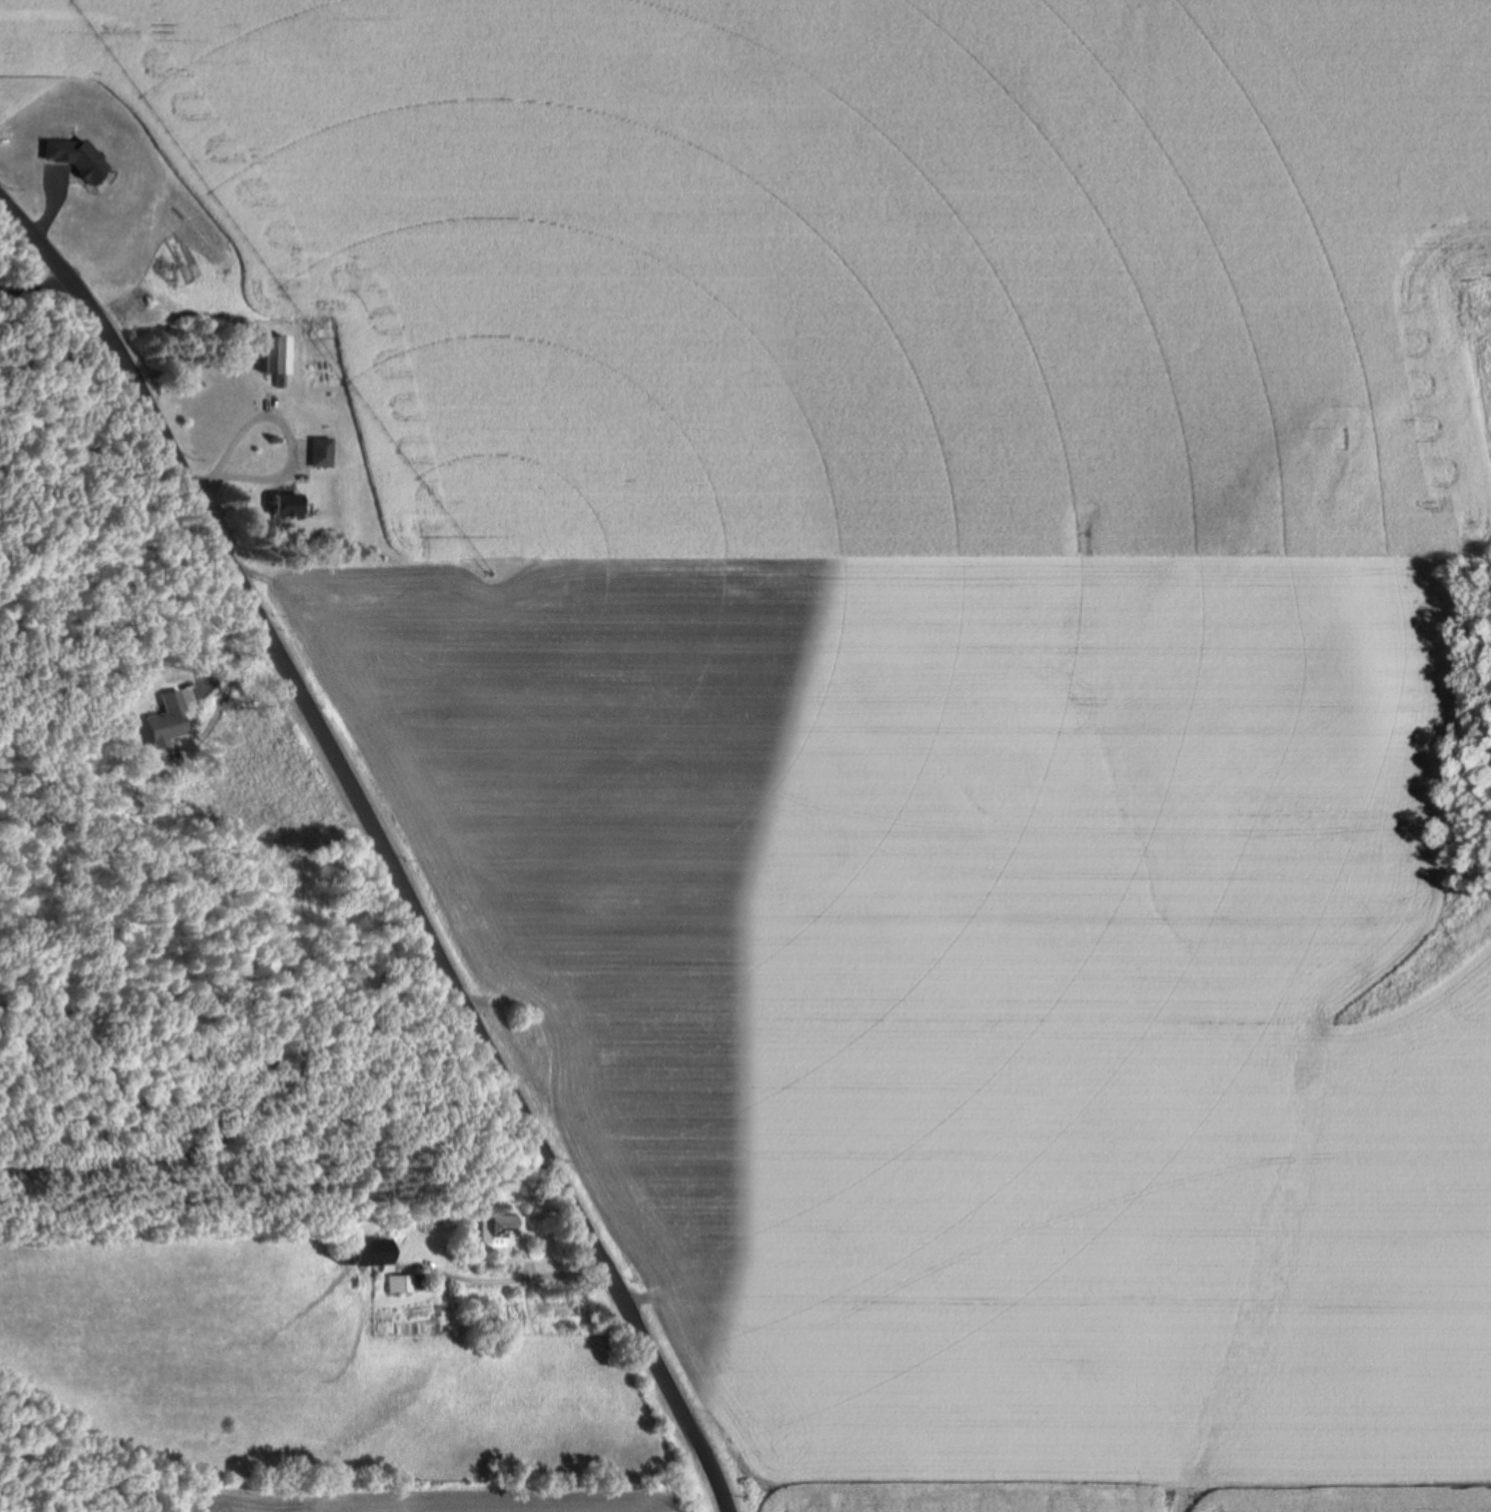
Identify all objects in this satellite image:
road: (34, 289)
building: (275, 355)
building: (323, 453)
building: (289, 505)
crop: (928, 688)
building: (169, 721)
road: (380, 843)
building: (498, 1230)
building: (370, 1259)
building: (403, 1285)
crop: (471, 1492)

